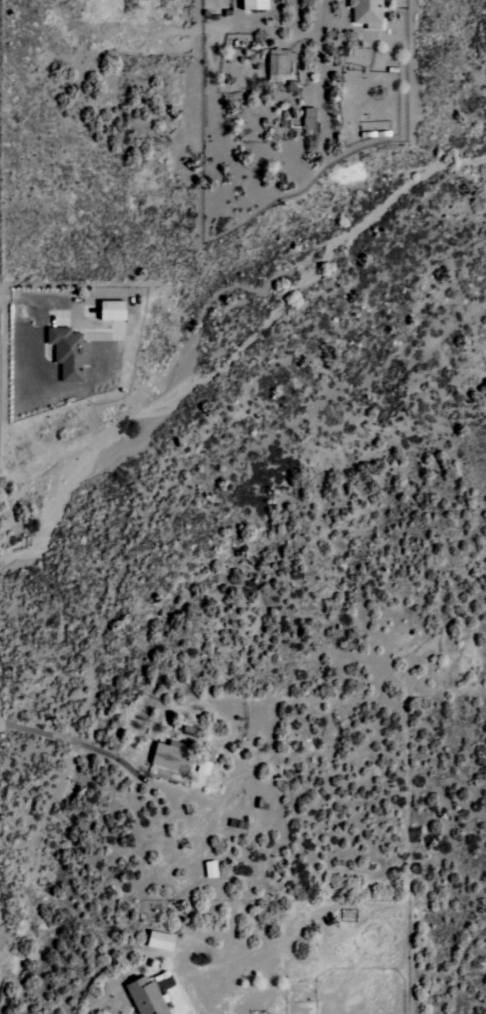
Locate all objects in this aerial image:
building: (256, 5)
building: (368, 13)
road: (315, 44)
building: (279, 67)
building: (114, 311)
building: (69, 353)
road: (63, 742)
building: (173, 756)
building: (162, 942)
road: (256, 1001)

